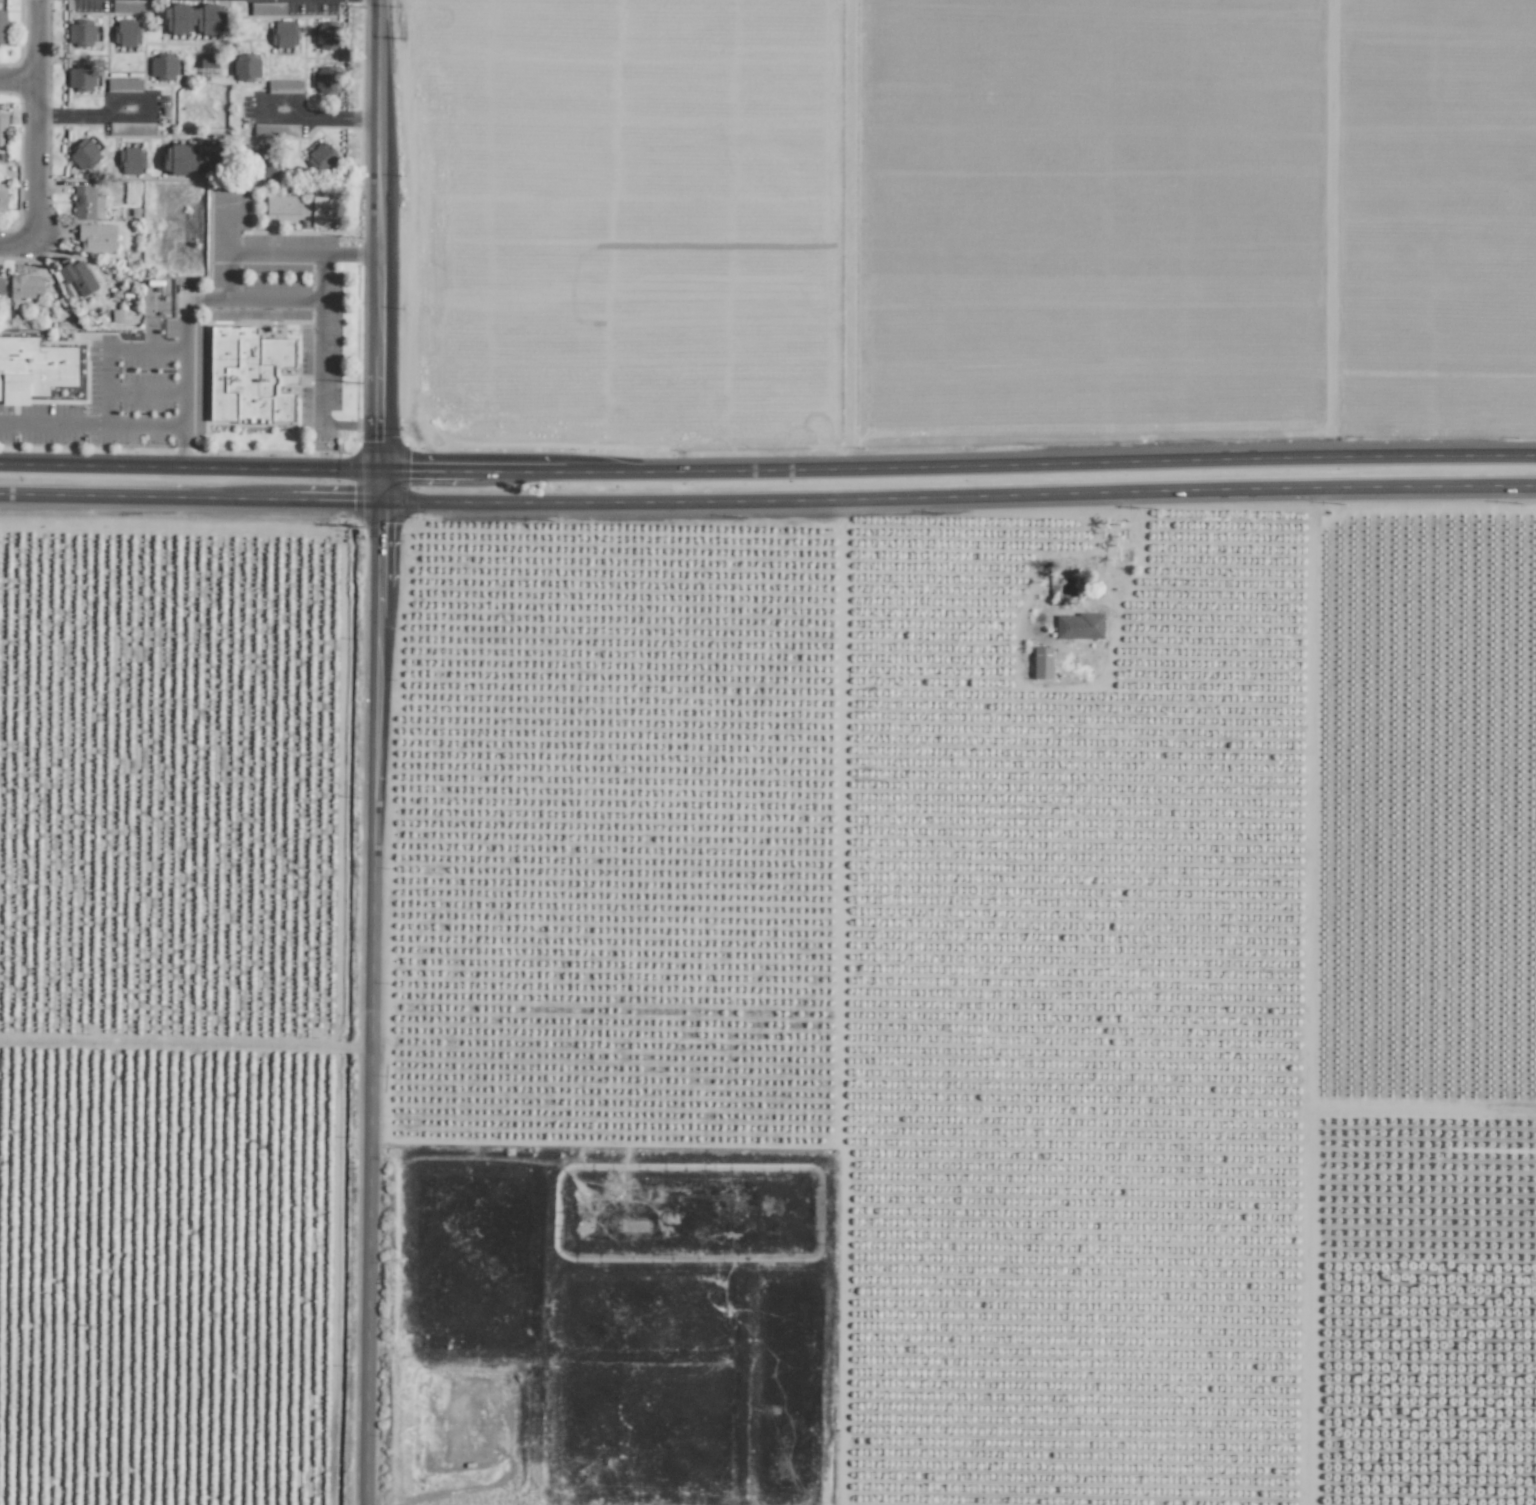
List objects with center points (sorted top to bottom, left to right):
building: (129, 6)
building: (267, 8)
building: (193, 19)
building: (2, 27)
building: (126, 32)
building: (81, 33)
building: (283, 34)
building: (327, 35)
building: (208, 65)
building: (162, 67)
building: (246, 67)
building: (80, 77)
building: (328, 80)
building: (123, 85)
building: (284, 86)
road: (20, 91)
road: (114, 106)
road: (322, 117)
road: (39, 124)
building: (3, 129)
building: (131, 129)
building: (276, 130)
building: (83, 154)
building: (322, 158)
building: (190, 159)
building: (130, 161)
building: (267, 165)
building: (2, 201)
building: (86, 204)
building: (302, 210)
building: (96, 238)
road: (19, 248)
road: (246, 251)
building: (77, 277)
building: (25, 286)
building: (1, 288)
road: (275, 299)
road: (322, 311)
road: (188, 321)
road: (108, 349)
building: (34, 368)
building: (248, 376)
road: (146, 390)
road: (349, 424)
road: (112, 426)
road: (956, 466)
road: (188, 468)
traffic signals: (377, 472)
road: (956, 496)
road: (188, 497)
traffic signals: (377, 501)
building: (1078, 626)
building: (1041, 663)
road: (374, 752)
road: (185, 1043)
wastewater plant: (793, 1335)

